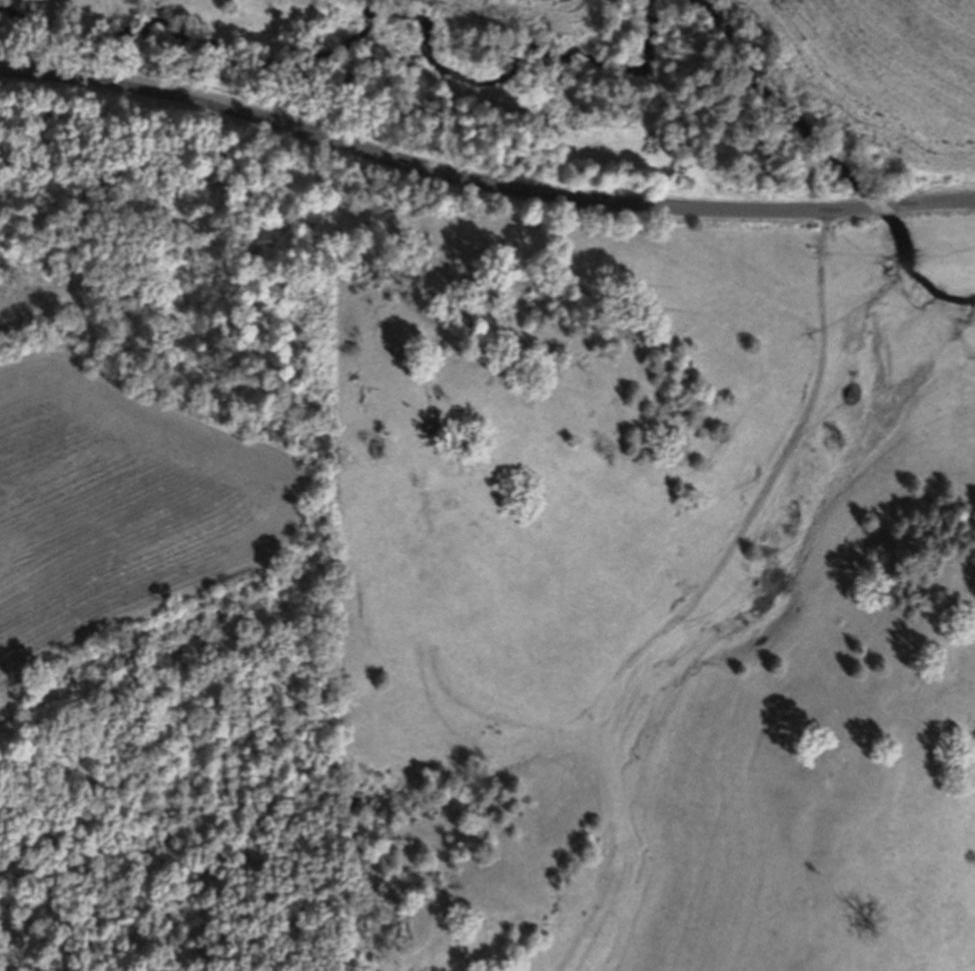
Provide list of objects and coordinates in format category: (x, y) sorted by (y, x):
road: (481, 182)

